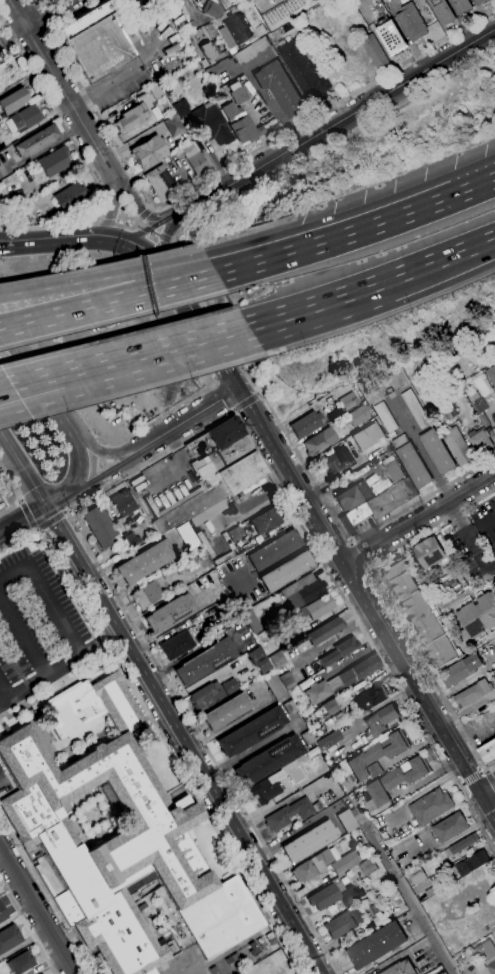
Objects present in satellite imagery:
road: (32, 0)
building: (168, 0)
building: (161, 1)
road: (30, 2)
road: (32, 2)
building: (479, 2)
building: (132, 4)
building: (461, 6)
road: (16, 10)
building: (213, 10)
building: (282, 11)
building: (442, 11)
road: (51, 14)
road: (39, 15)
road: (2, 17)
building: (411, 22)
road: (46, 28)
building: (237, 29)
building: (209, 30)
road: (45, 31)
building: (390, 36)
road: (32, 38)
building: (97, 41)
road: (19, 44)
building: (252, 51)
building: (373, 51)
building: (208, 53)
building: (303, 73)
road: (64, 90)
building: (280, 90)
building: (156, 92)
building: (239, 94)
road: (86, 96)
building: (12, 102)
building: (181, 108)
road: (327, 108)
building: (231, 110)
building: (237, 117)
building: (131, 118)
building: (23, 119)
building: (212, 124)
road: (333, 124)
building: (174, 126)
building: (246, 130)
building: (35, 141)
road: (41, 149)
building: (149, 151)
building: (196, 157)
road: (85, 159)
building: (54, 162)
building: (161, 183)
road: (473, 187)
building: (70, 197)
building: (6, 205)
road: (149, 208)
road: (140, 209)
road: (115, 210)
road: (144, 214)
road: (100, 221)
road: (107, 222)
road: (141, 225)
road: (151, 228)
road: (130, 229)
road: (157, 234)
traffic signals: (104, 237)
road: (334, 238)
traffic signals: (132, 239)
road: (65, 240)
road: (165, 240)
road: (174, 242)
road: (149, 249)
road: (203, 278)
road: (94, 280)
road: (391, 281)
road: (208, 304)
road: (22, 305)
road: (94, 305)
road: (205, 323)
road: (268, 324)
road: (24, 344)
road: (151, 356)
building: (490, 376)
road: (25, 387)
road: (259, 394)
road: (25, 398)
road: (246, 401)
building: (349, 401)
building: (476, 403)
building: (414, 409)
road: (235, 410)
road: (64, 412)
building: (449, 412)
building: (359, 416)
road: (192, 417)
building: (385, 419)
building: (493, 421)
building: (306, 424)
building: (368, 435)
road: (114, 438)
building: (319, 442)
building: (479, 442)
building: (457, 448)
building: (437, 452)
road: (109, 453)
building: (336, 461)
building: (412, 462)
road: (139, 467)
road: (22, 469)
building: (213, 475)
road: (76, 479)
road: (94, 479)
road: (437, 482)
road: (16, 493)
building: (349, 497)
road: (21, 500)
building: (383, 501)
building: (123, 503)
road: (65, 512)
road: (28, 514)
road: (420, 517)
road: (21, 519)
road: (51, 520)
building: (265, 520)
building: (99, 525)
road: (36, 528)
road: (38, 528)
building: (235, 533)
building: (187, 536)
road: (18, 539)
road: (351, 544)
building: (273, 550)
building: (429, 553)
road: (357, 554)
building: (144, 561)
building: (181, 564)
road: (364, 567)
building: (286, 571)
road: (49, 592)
building: (309, 592)
building: (146, 594)
road: (369, 604)
building: (283, 605)
building: (317, 607)
road: (388, 608)
building: (169, 612)
building: (418, 612)
building: (477, 616)
parking lot: (35, 618)
building: (250, 621)
building: (324, 630)
road: (23, 634)
building: (281, 642)
building: (176, 644)
building: (494, 648)
building: (339, 650)
building: (257, 655)
building: (278, 658)
building: (205, 660)
road: (60, 669)
building: (358, 670)
building: (458, 672)
building: (287, 681)
building: (274, 685)
building: (294, 691)
building: (317, 691)
building: (211, 693)
building: (473, 693)
road: (3, 694)
building: (370, 696)
building: (289, 707)
building: (330, 707)
building: (226, 712)
building: (379, 721)
building: (251, 731)
road: (473, 733)
building: (307, 737)
building: (328, 739)
road: (184, 740)
road: (251, 749)
road: (170, 750)
building: (487, 753)
building: (374, 756)
building: (267, 760)
building: (344, 770)
road: (486, 772)
building: (296, 775)
building: (396, 780)
road: (490, 780)
road: (485, 787)
building: (265, 788)
building: (430, 807)
building: (292, 813)
building: (346, 820)
building: (450, 827)
building: (117, 835)
building: (309, 841)
building: (461, 844)
building: (345, 862)
building: (471, 863)
building: (311, 866)
building: (367, 867)
building: (416, 875)
road: (47, 893)
building: (325, 894)
building: (350, 895)
road: (409, 902)
road: (37, 910)
building: (2, 913)
building: (373, 923)
building: (339, 924)
road: (27, 926)
building: (9, 937)
building: (376, 945)
building: (487, 954)
building: (21, 962)
building: (400, 968)
building: (41, 973)

